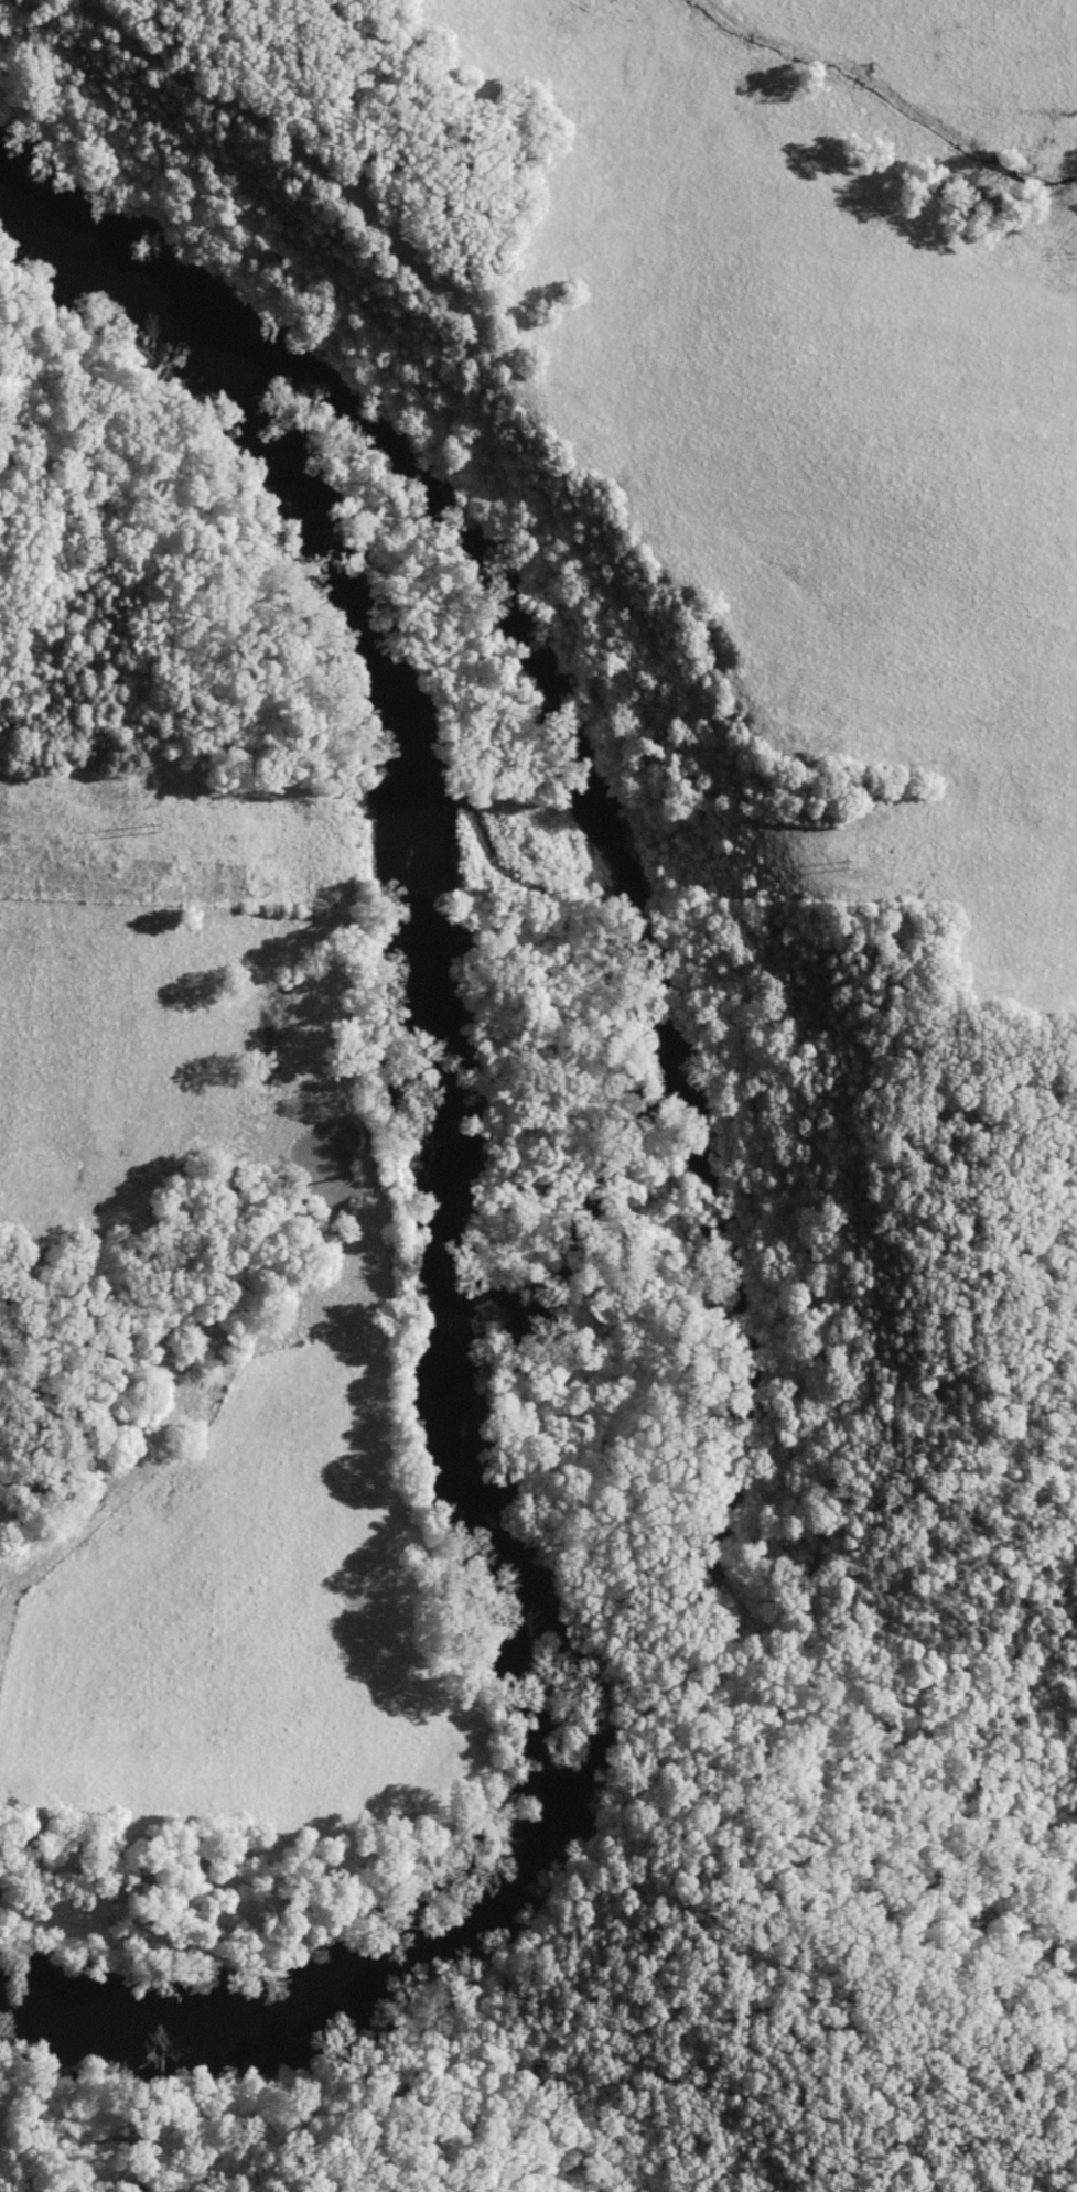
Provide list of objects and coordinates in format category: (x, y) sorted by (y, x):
road: (794, 180)
power tower: (148, 832)
power tower: (842, 866)

